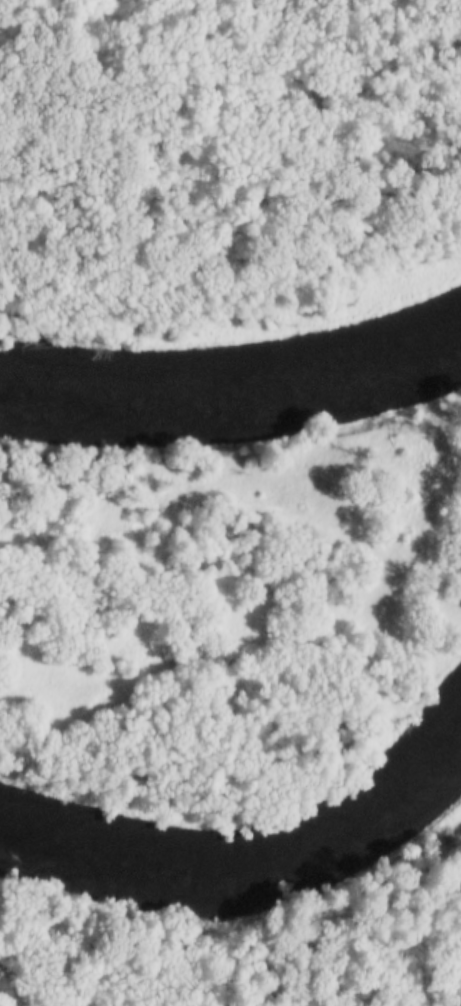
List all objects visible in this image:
river: (238, 391)
river: (249, 862)

